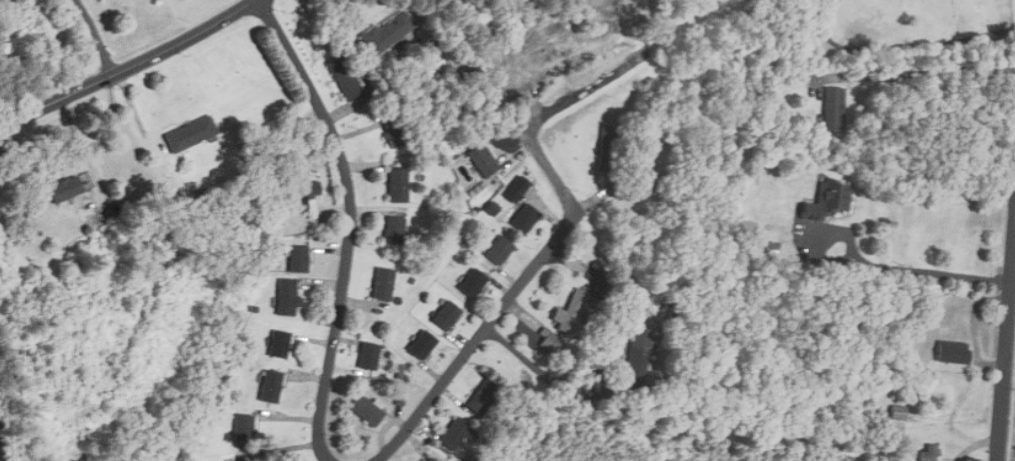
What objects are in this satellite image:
park: (911, 30)
building: (388, 32)
road: (97, 36)
road: (900, 46)
road: (130, 67)
road: (920, 72)
building: (345, 77)
building: (833, 109)
building: (393, 129)
building: (193, 133)
building: (609, 148)
building: (483, 160)
building: (398, 185)
building: (519, 185)
building: (68, 188)
building: (832, 196)
building: (312, 197)
building: (492, 207)
building: (525, 218)
road: (354, 221)
building: (744, 225)
building: (394, 229)
building: (499, 249)
building: (299, 259)
road: (886, 267)
building: (383, 283)
building: (473, 283)
building: (288, 297)
road: (510, 299)
building: (573, 312)
building: (446, 314)
building: (550, 341)
building: (280, 343)
building: (422, 344)
road: (1005, 344)
building: (952, 352)
building: (370, 356)
building: (638, 357)
building: (400, 371)
road: (541, 372)
building: (273, 386)
building: (483, 397)
building: (367, 410)
building: (898, 412)
building: (245, 427)
building: (455, 433)
road: (1014, 441)
building: (930, 453)
building: (429, 459)

